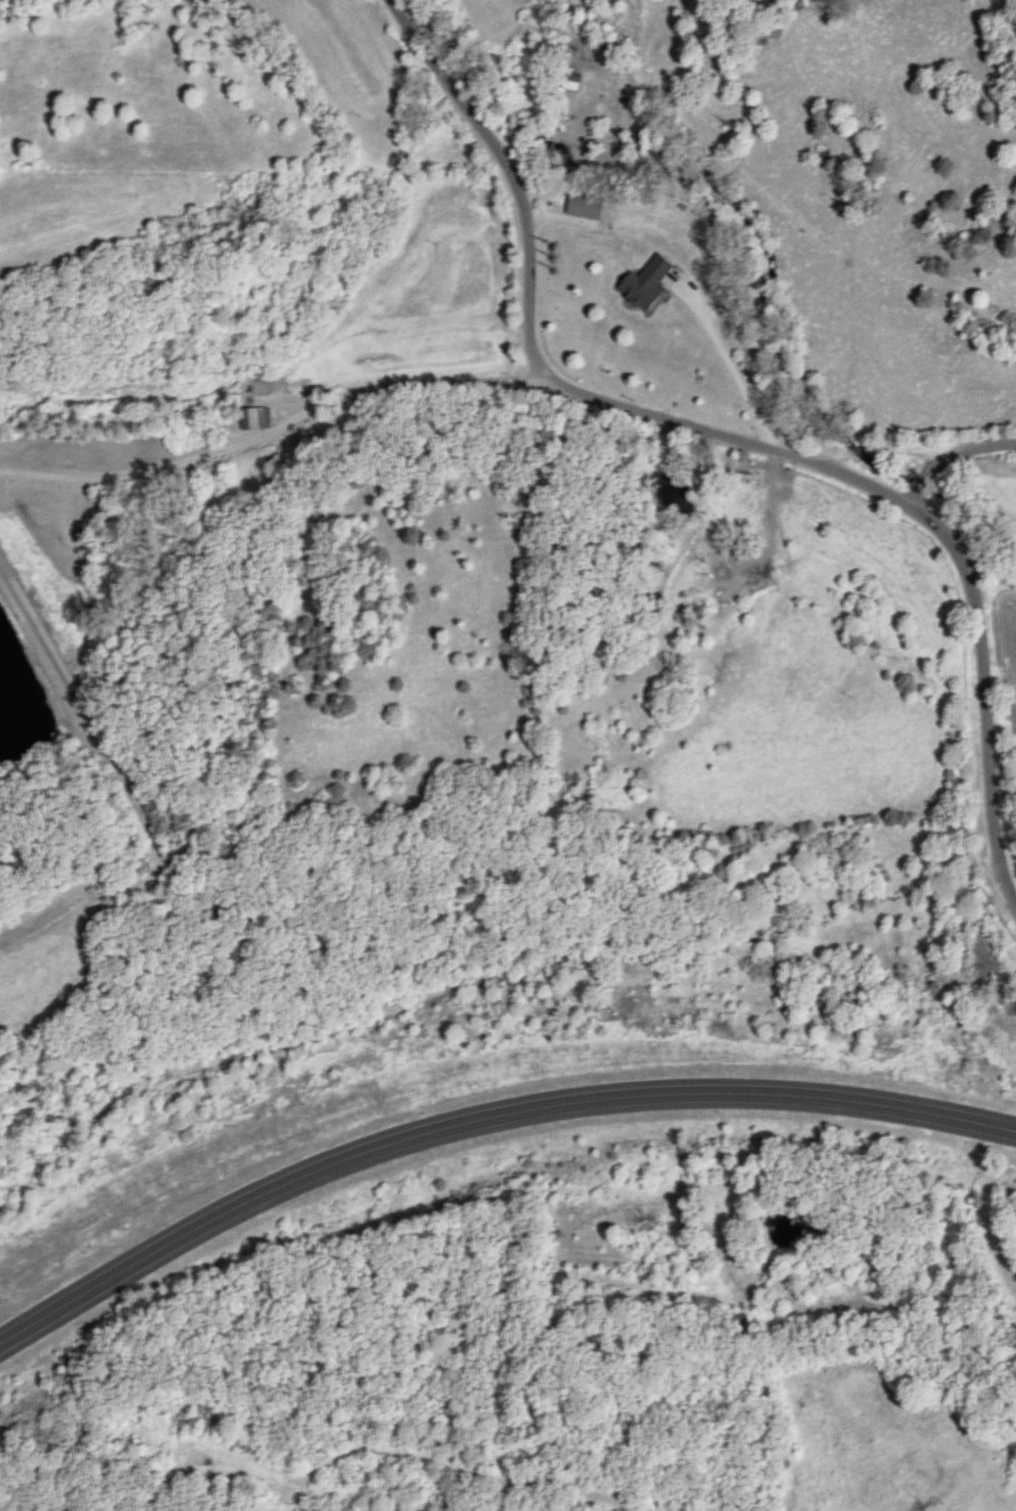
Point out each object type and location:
building: (583, 205)
building: (644, 282)
road: (530, 308)
road: (729, 360)
building: (254, 417)
road: (276, 430)
road: (914, 452)
road: (884, 491)
road: (949, 493)
road: (988, 720)
road: (100, 749)
road: (484, 1121)

